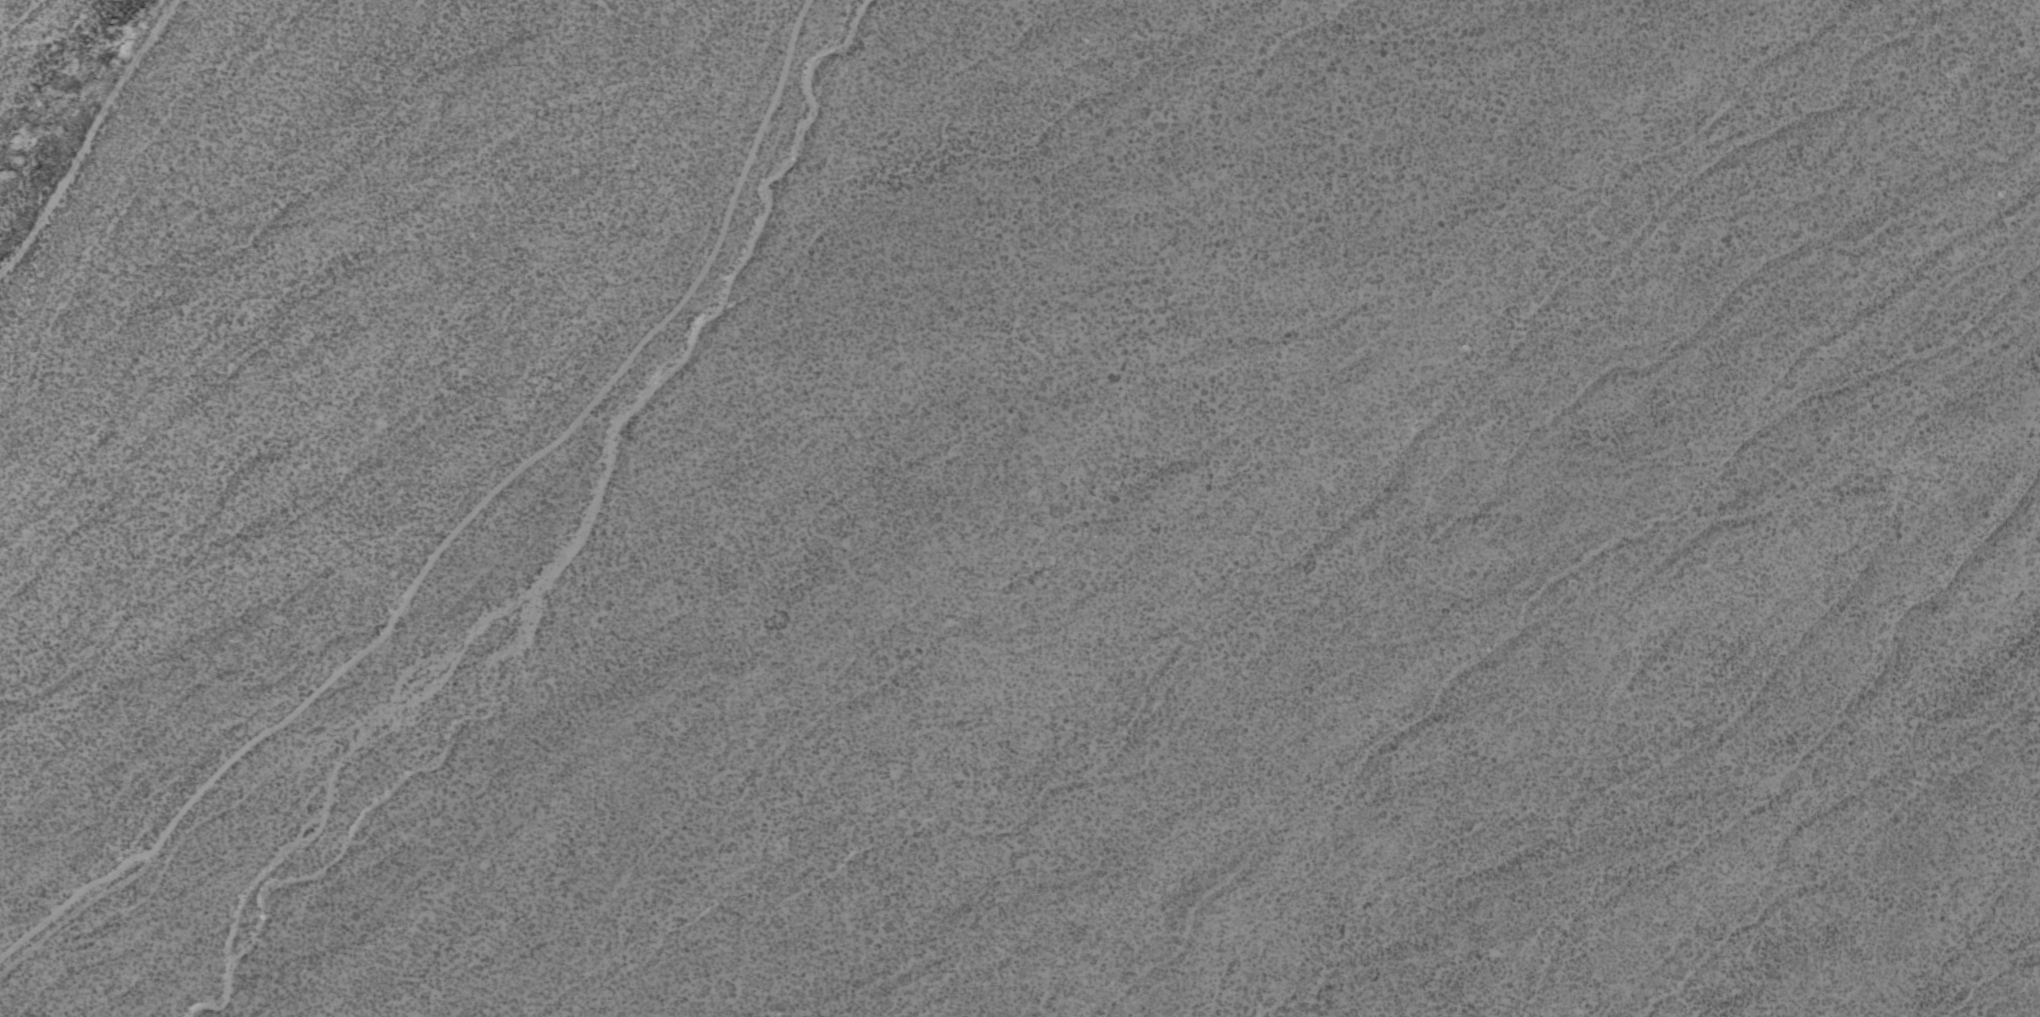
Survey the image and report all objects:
road: (91, 140)
road: (465, 527)

